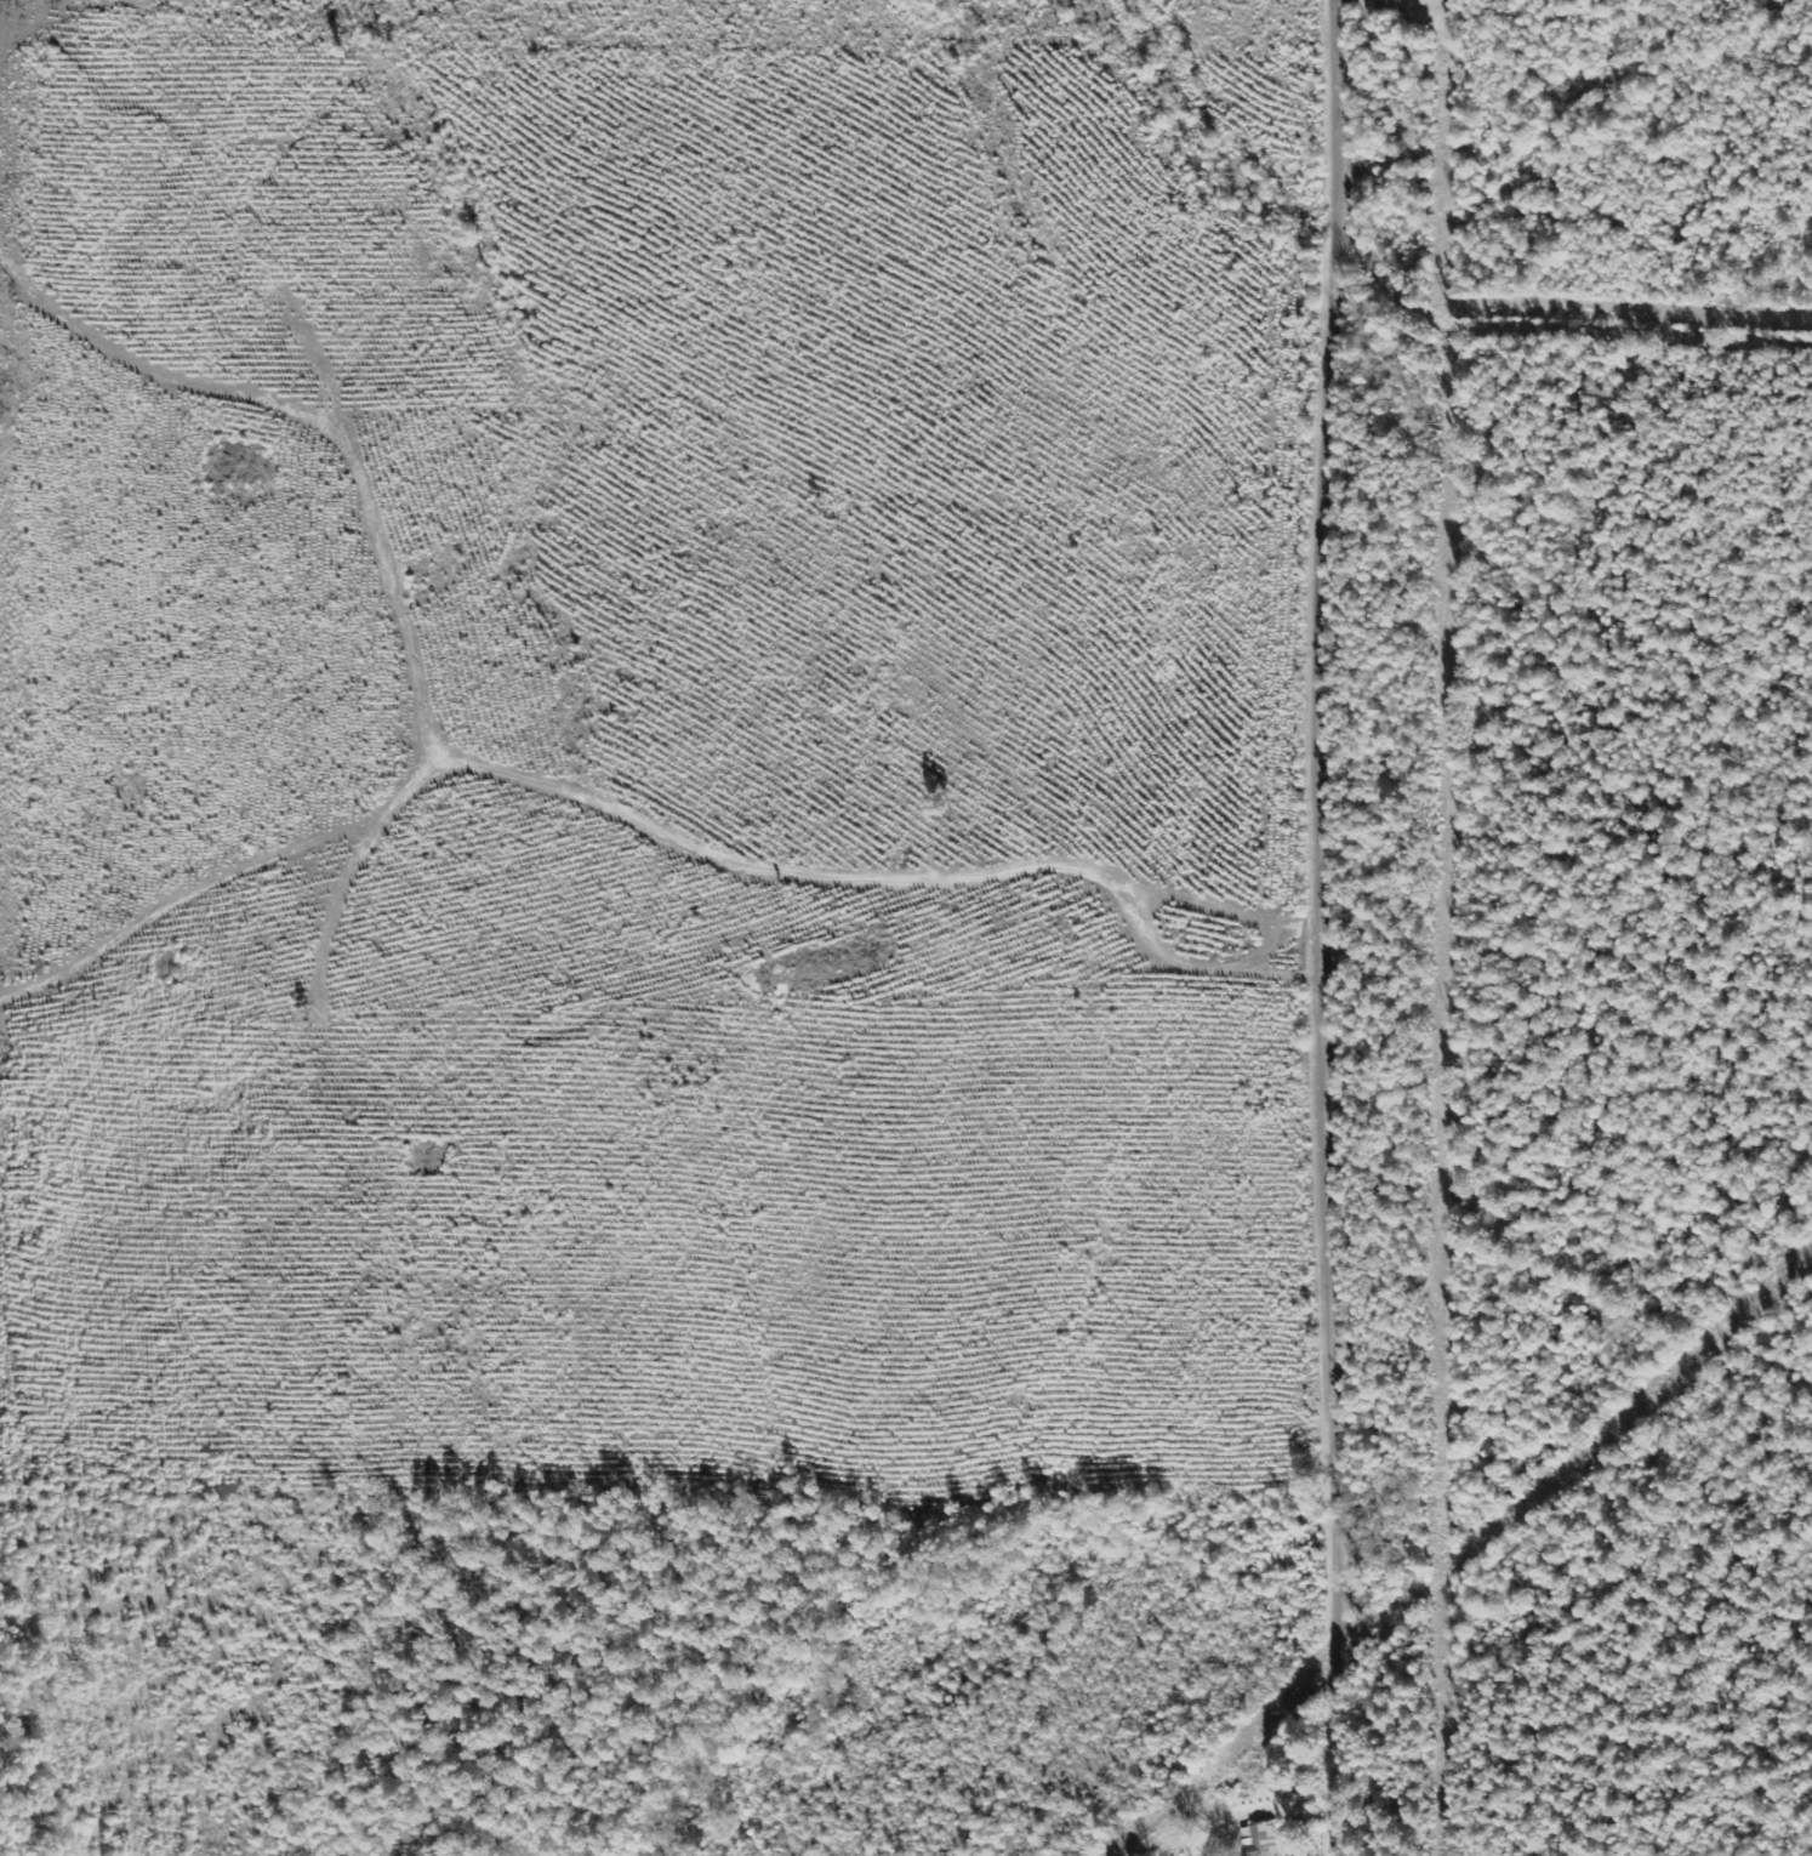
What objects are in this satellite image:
road: (1569, 323)
road: (1326, 928)
building: (1261, 1839)

